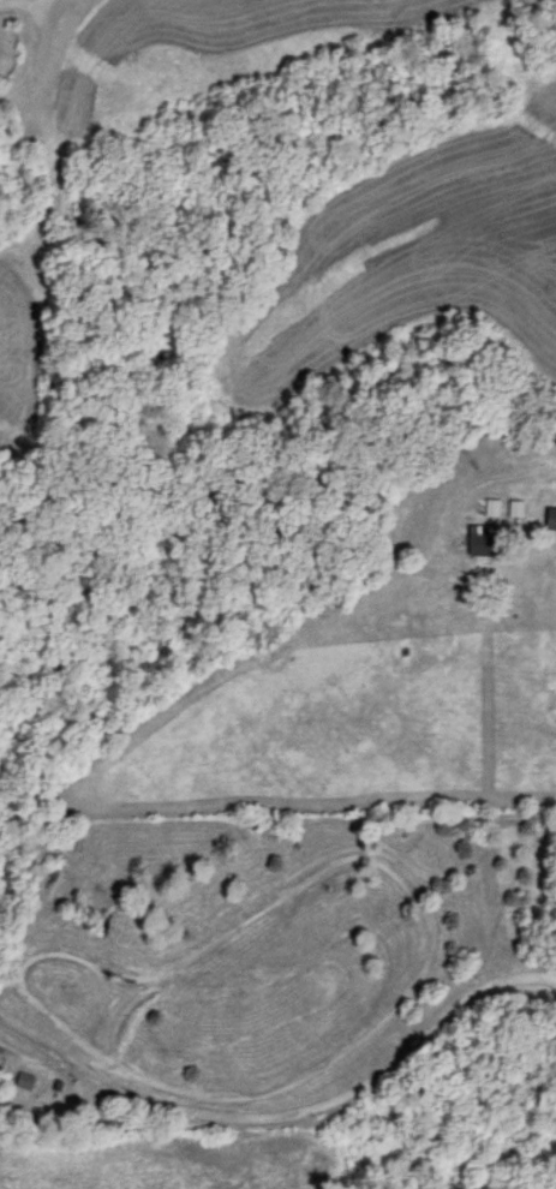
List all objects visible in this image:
road: (31, 54)
building: (490, 503)
building: (516, 504)
building: (552, 515)
building: (482, 536)
road: (288, 1109)

